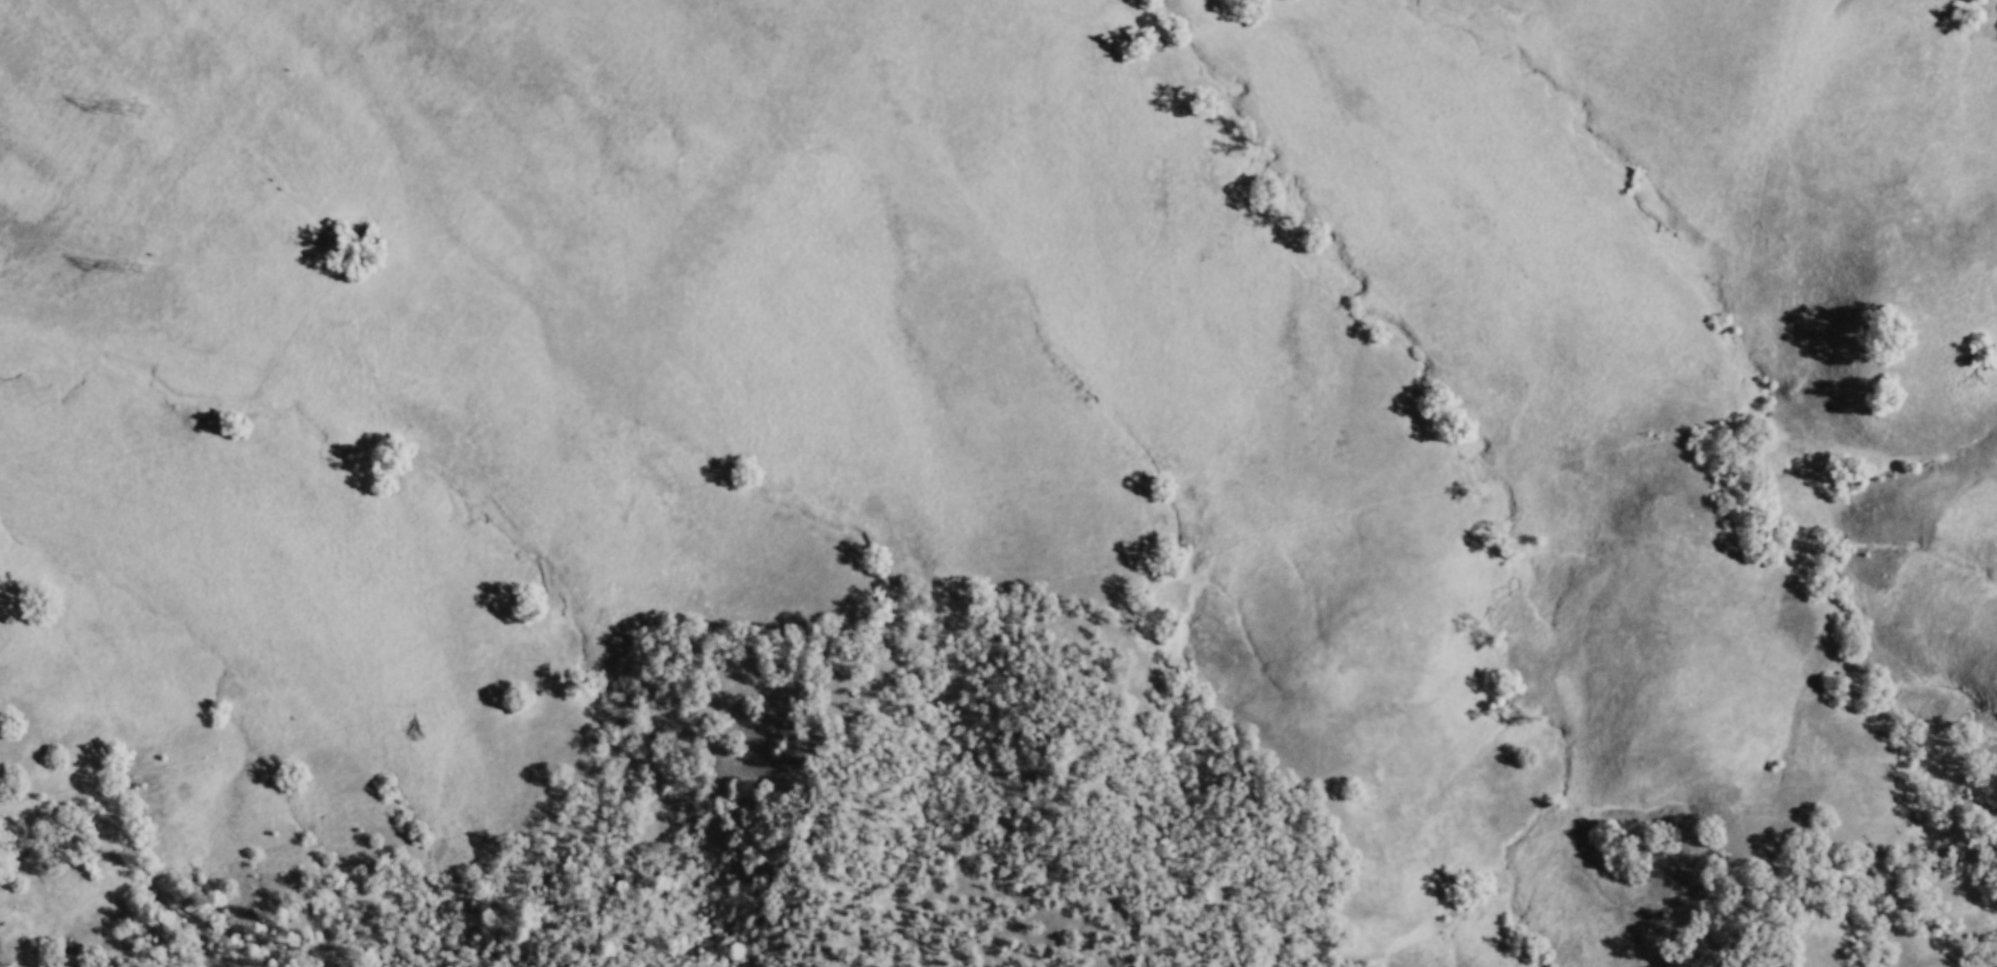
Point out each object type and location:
power tower: (137, 109)
power tower: (132, 269)

